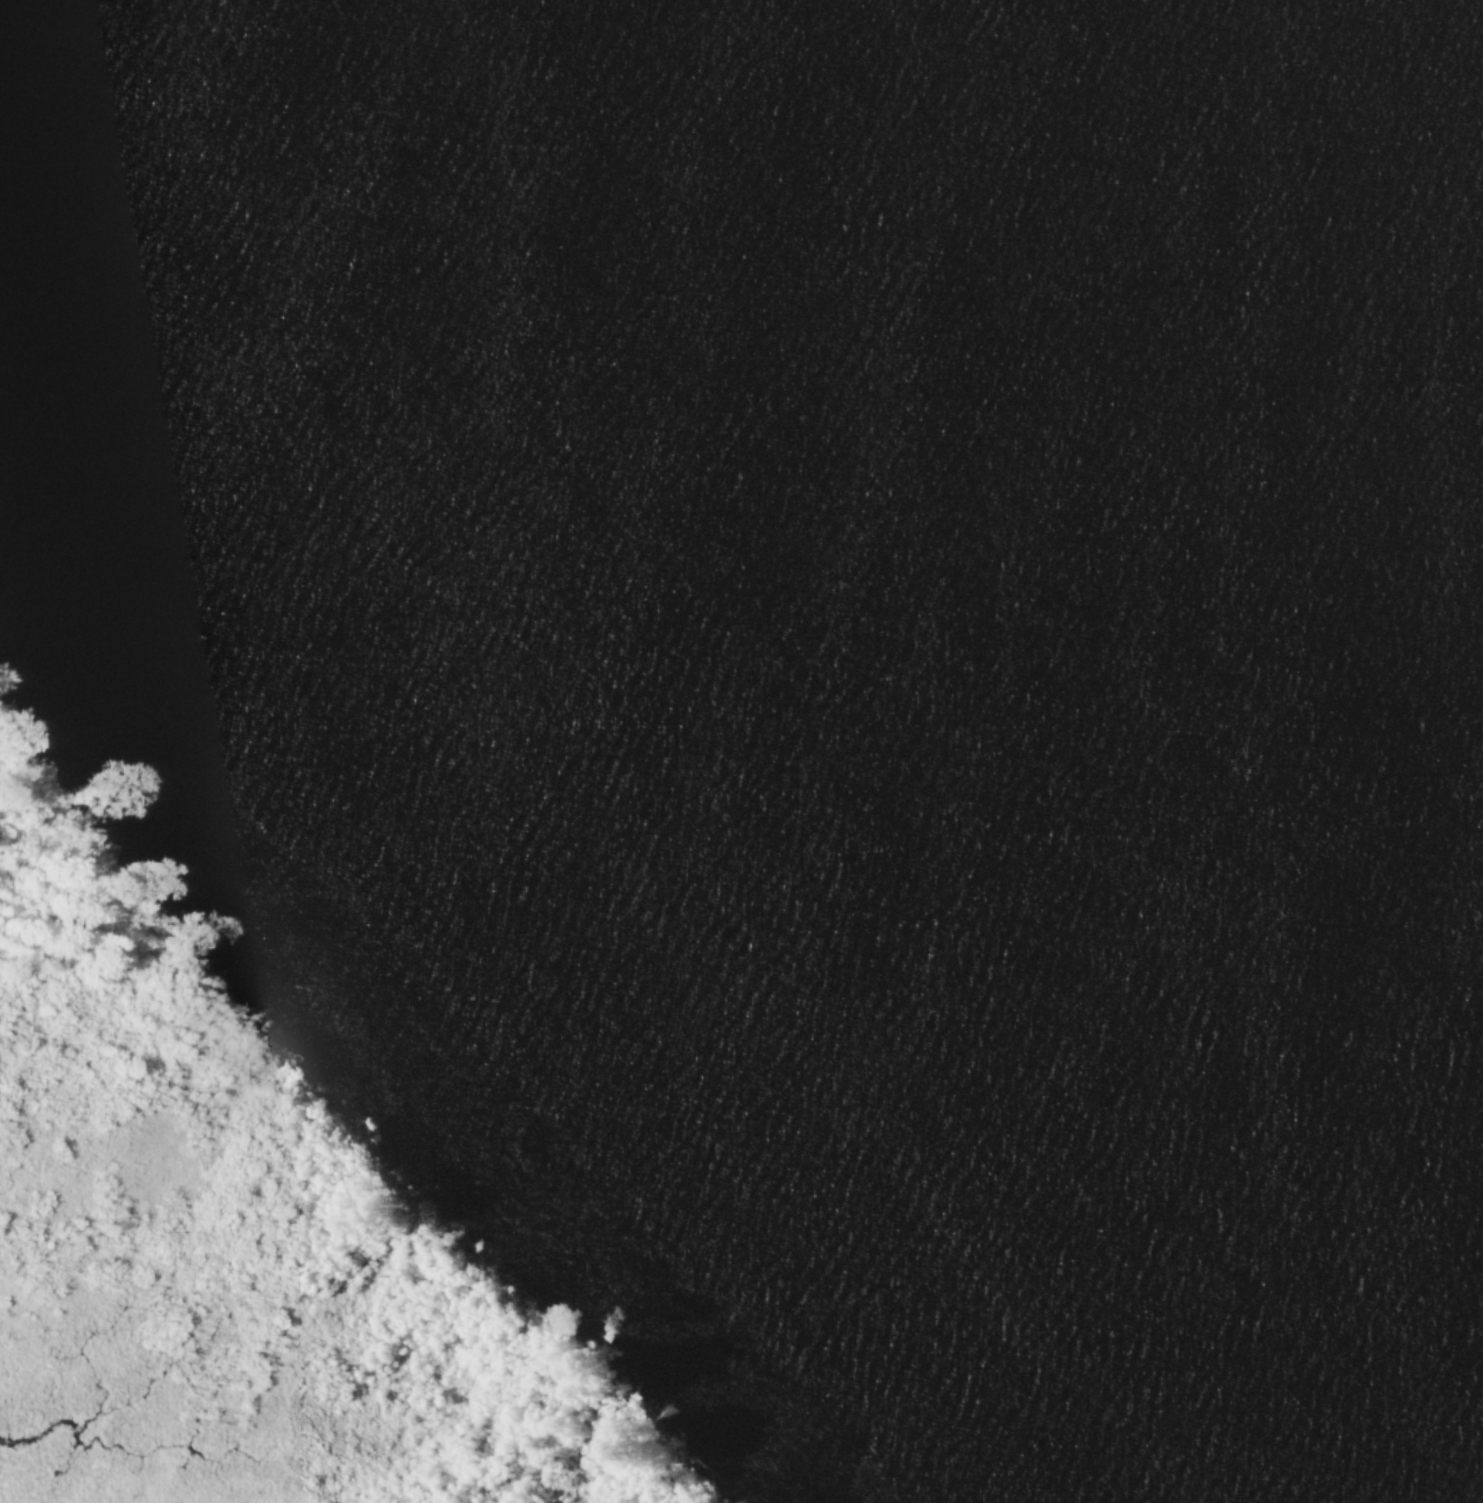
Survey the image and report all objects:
river: (1035, 502)

